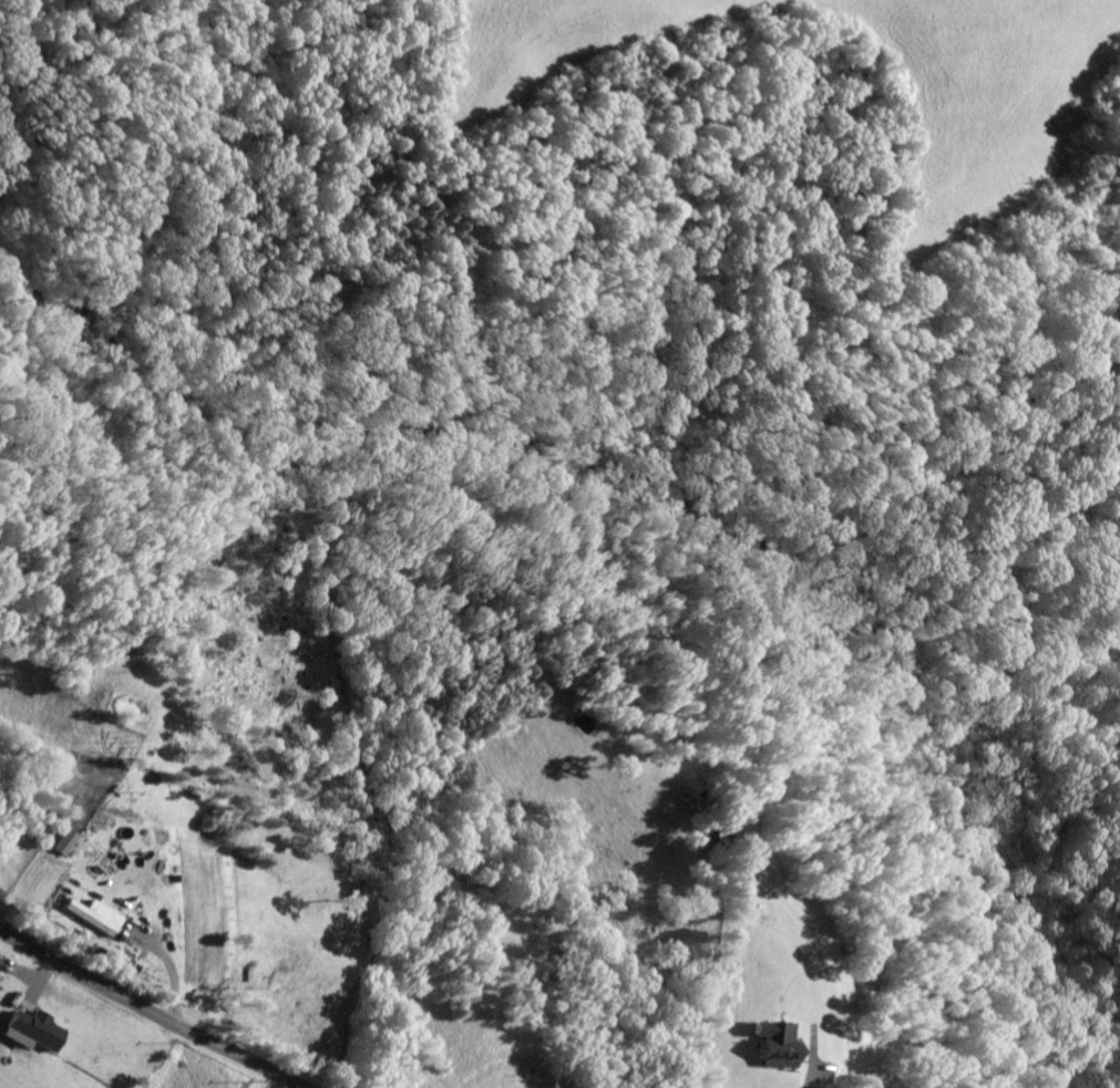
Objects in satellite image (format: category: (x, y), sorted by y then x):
building: (69, 840)
building: (95, 913)
road: (144, 1012)
building: (40, 1027)
building: (775, 1043)
road: (804, 1075)

